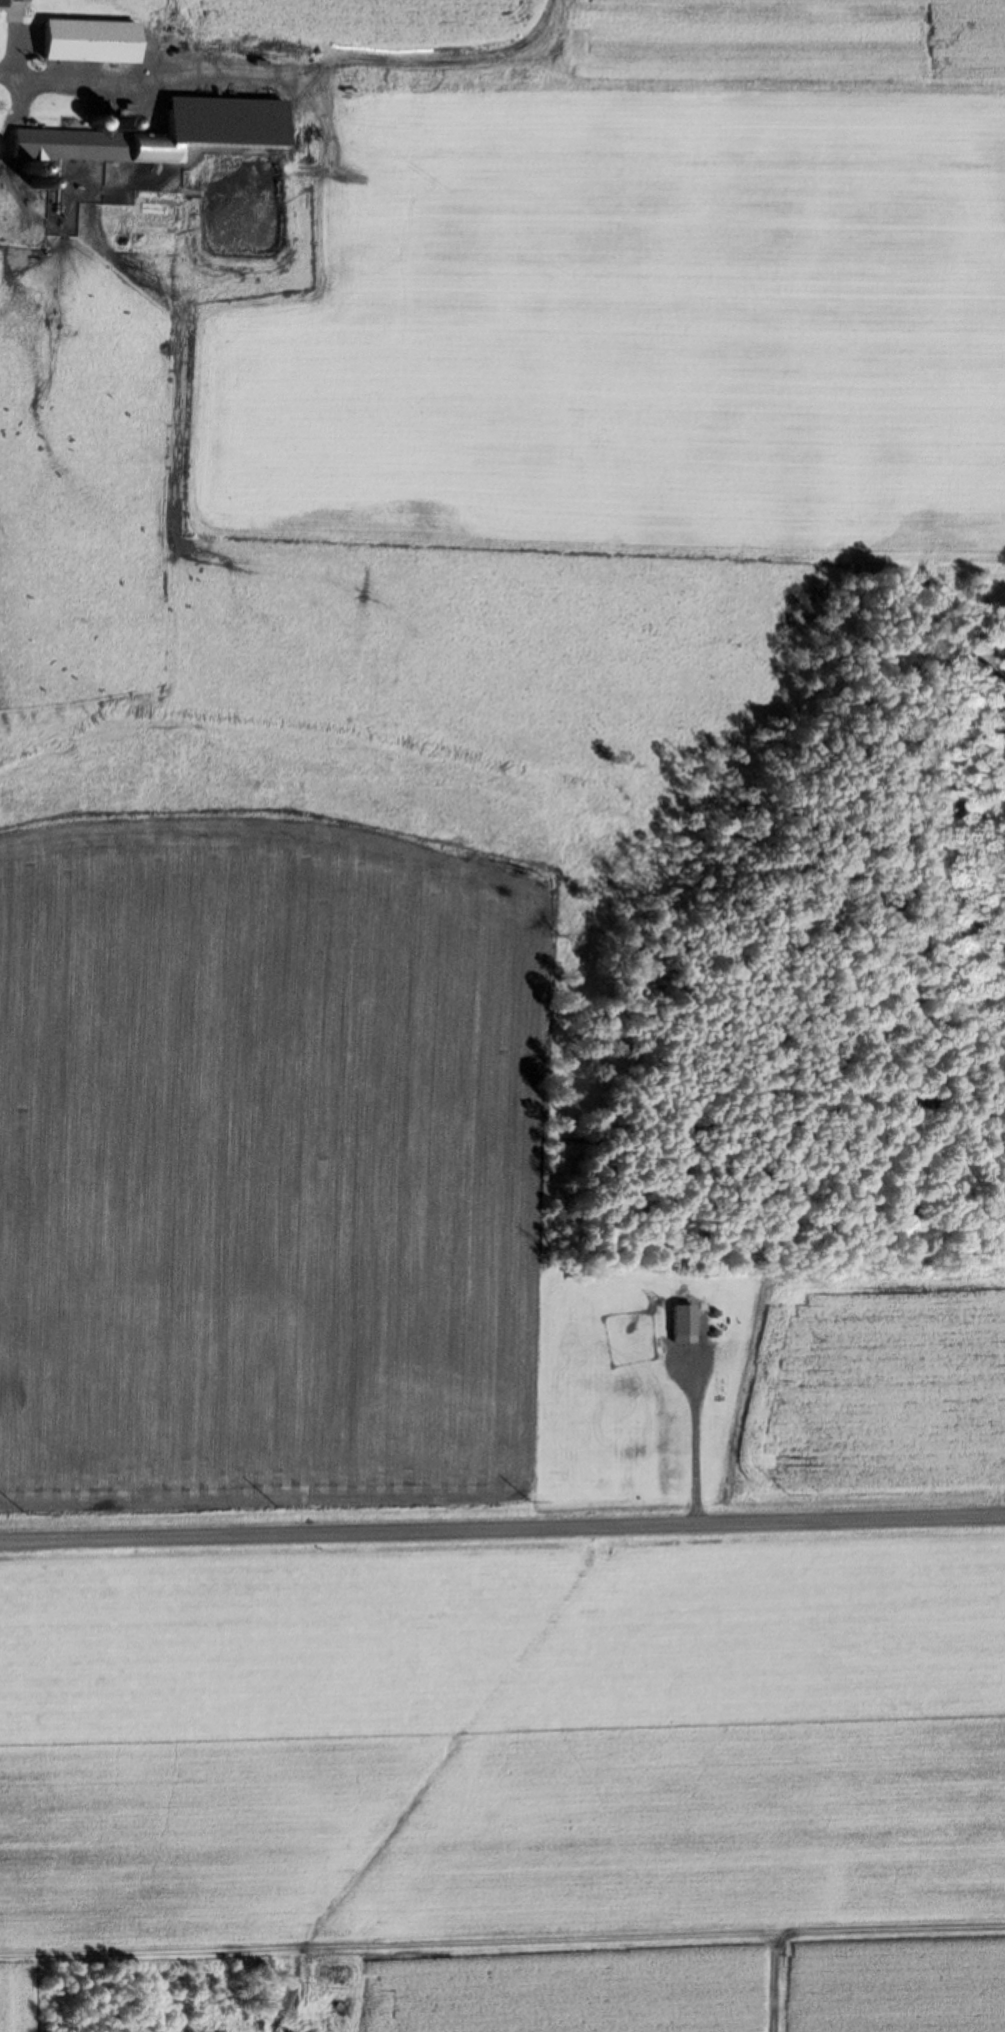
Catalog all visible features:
building: (12, 10)
building: (89, 39)
building: (92, 144)
building: (154, 207)
building: (681, 1319)
road: (502, 1528)

